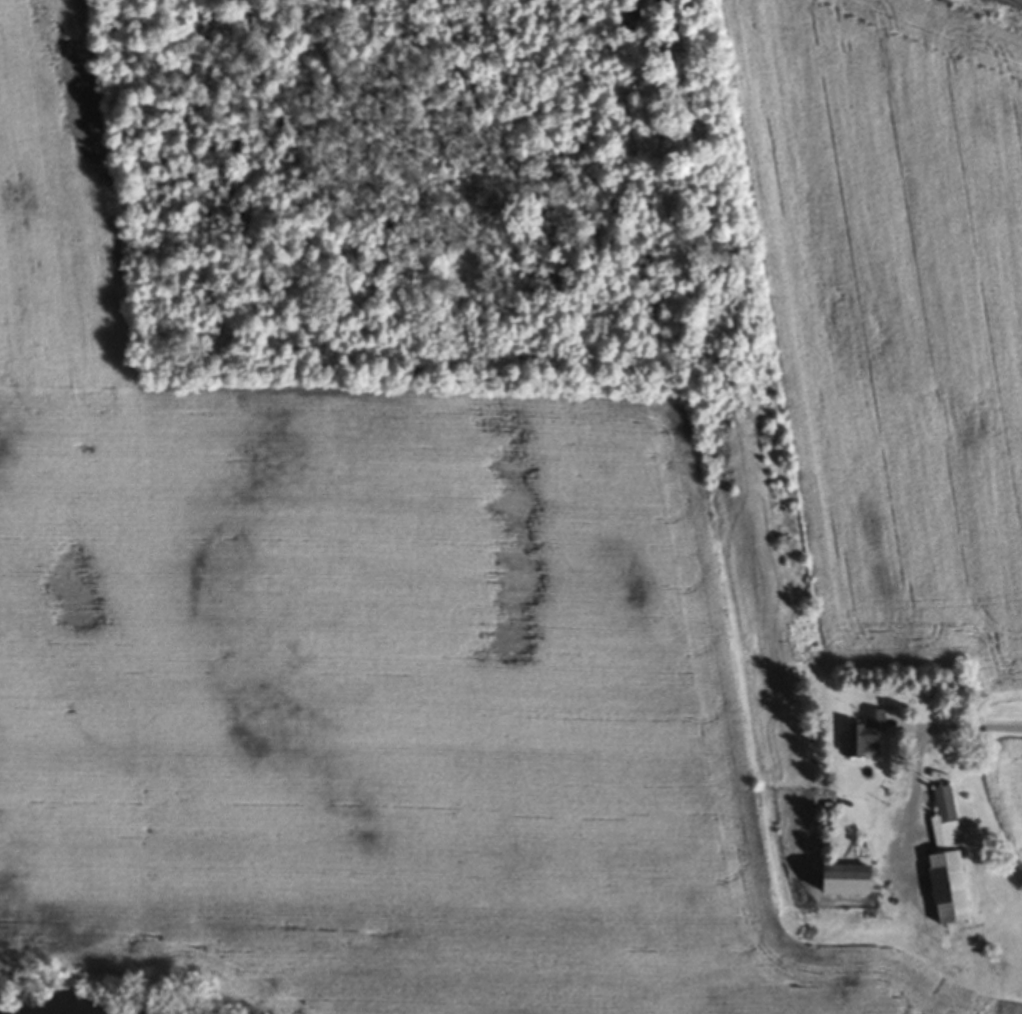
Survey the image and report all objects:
road: (1007, 5)
road: (977, 728)
building: (865, 737)
building: (944, 822)
building: (843, 881)
building: (947, 890)

